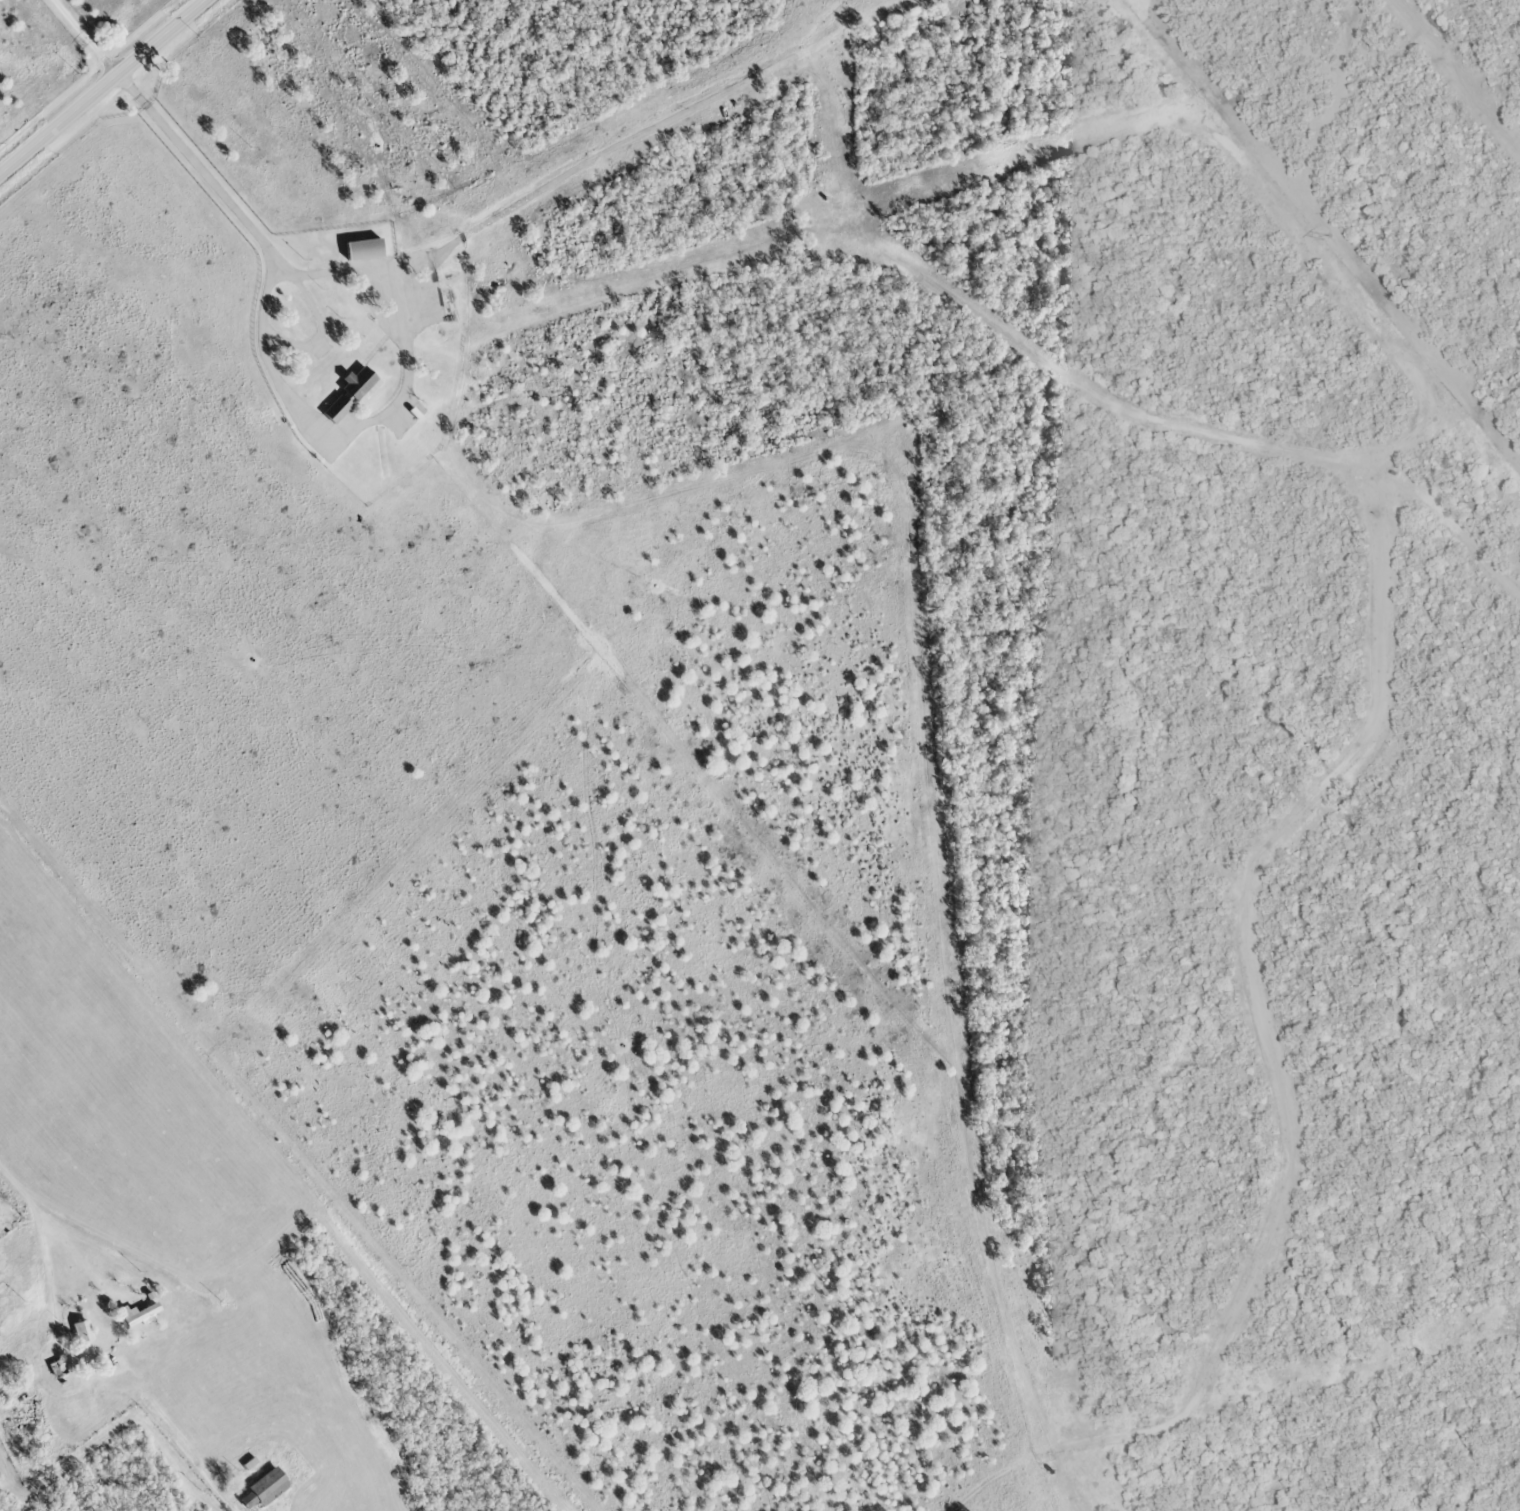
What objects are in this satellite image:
road: (84, 36)
road: (100, 85)
power tower: (1325, 239)
building: (361, 249)
building: (355, 384)
road: (288, 397)
road: (42, 1233)
building: (137, 1315)
building: (81, 1333)
building: (266, 1487)

